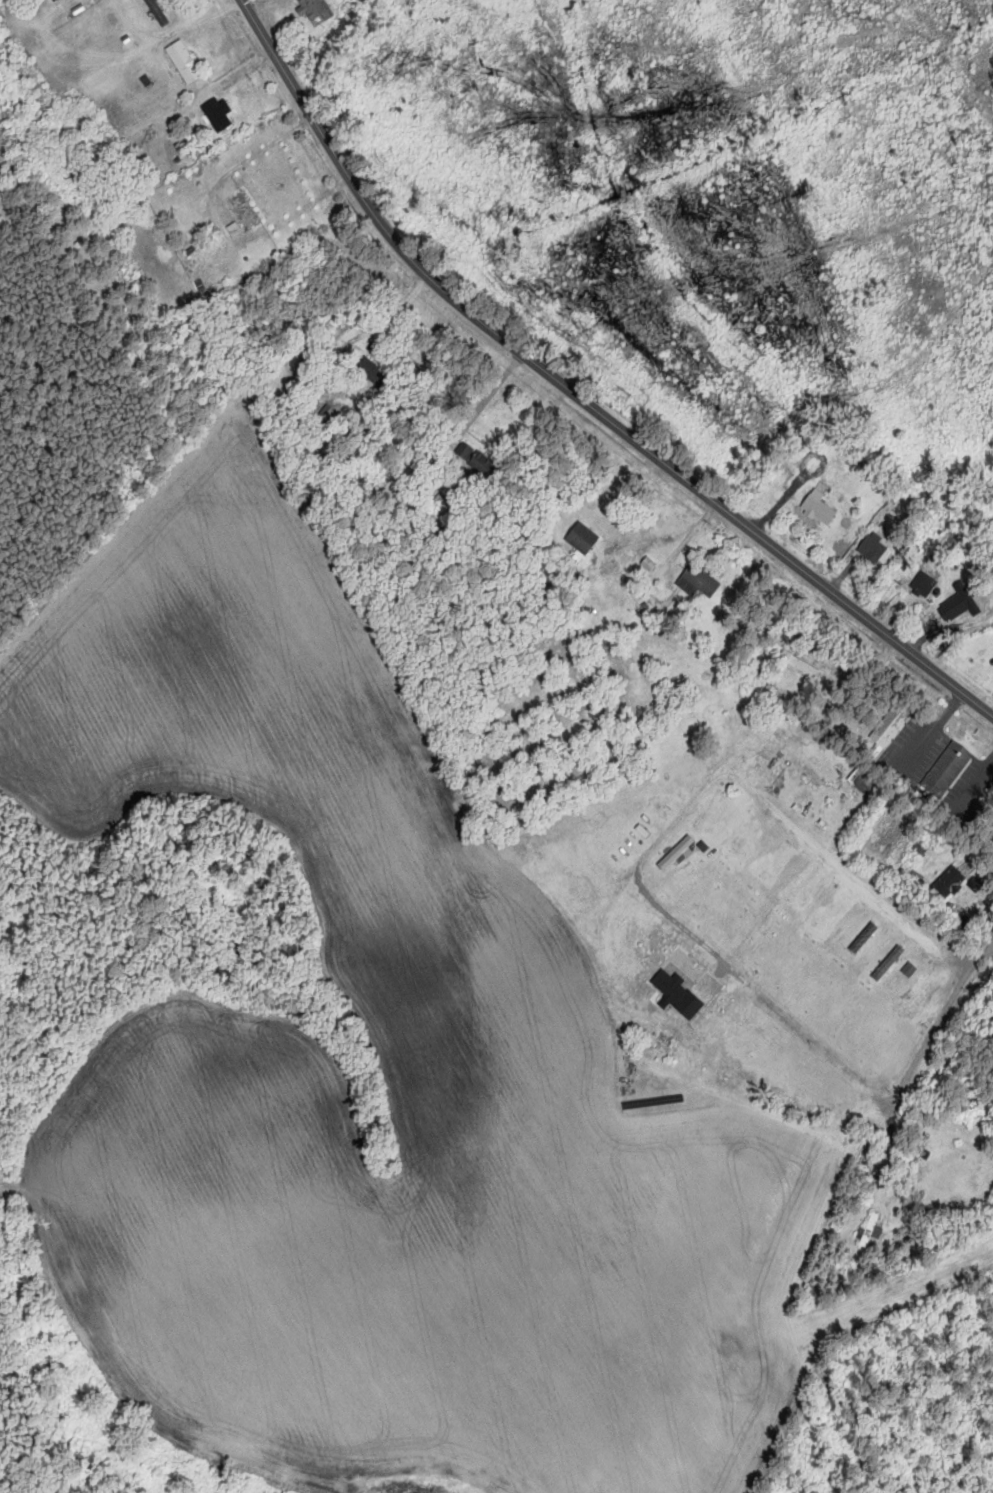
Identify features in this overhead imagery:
building: (317, 11)
building: (158, 12)
building: (184, 62)
building: (218, 114)
building: (243, 210)
building: (374, 373)
road: (576, 395)
building: (477, 461)
building: (819, 508)
building: (583, 539)
building: (874, 547)
building: (699, 581)
building: (961, 603)
building: (891, 725)
building: (948, 770)
building: (678, 853)
building: (949, 884)
road: (860, 886)
building: (832, 916)
building: (864, 938)
road: (974, 959)
building: (889, 964)
building: (920, 1147)
building: (913, 1202)
building: (873, 1228)

